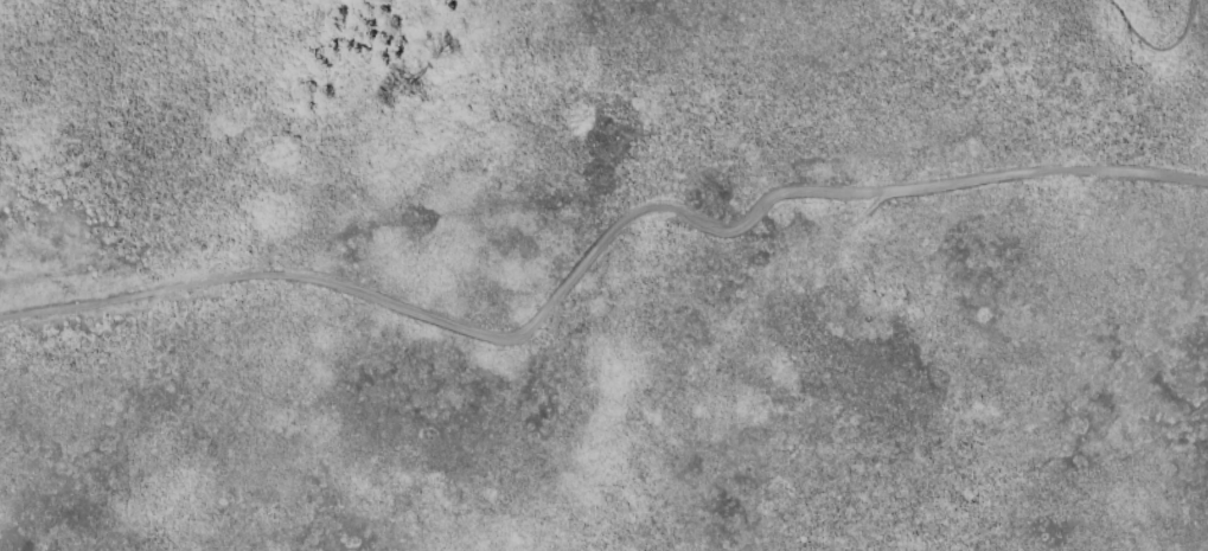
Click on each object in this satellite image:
road: (1155, 47)
road: (599, 250)

